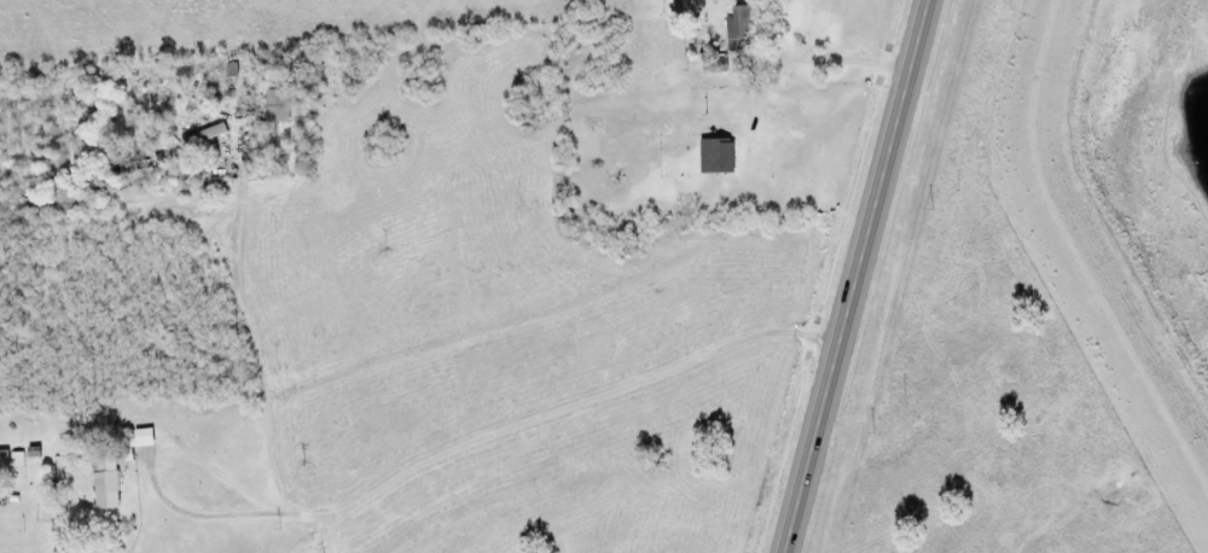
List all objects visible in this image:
building: (743, 23)
building: (279, 107)
building: (722, 157)
road: (184, 274)
road: (861, 275)
building: (135, 444)
building: (18, 460)
road: (629, 470)
building: (108, 481)

